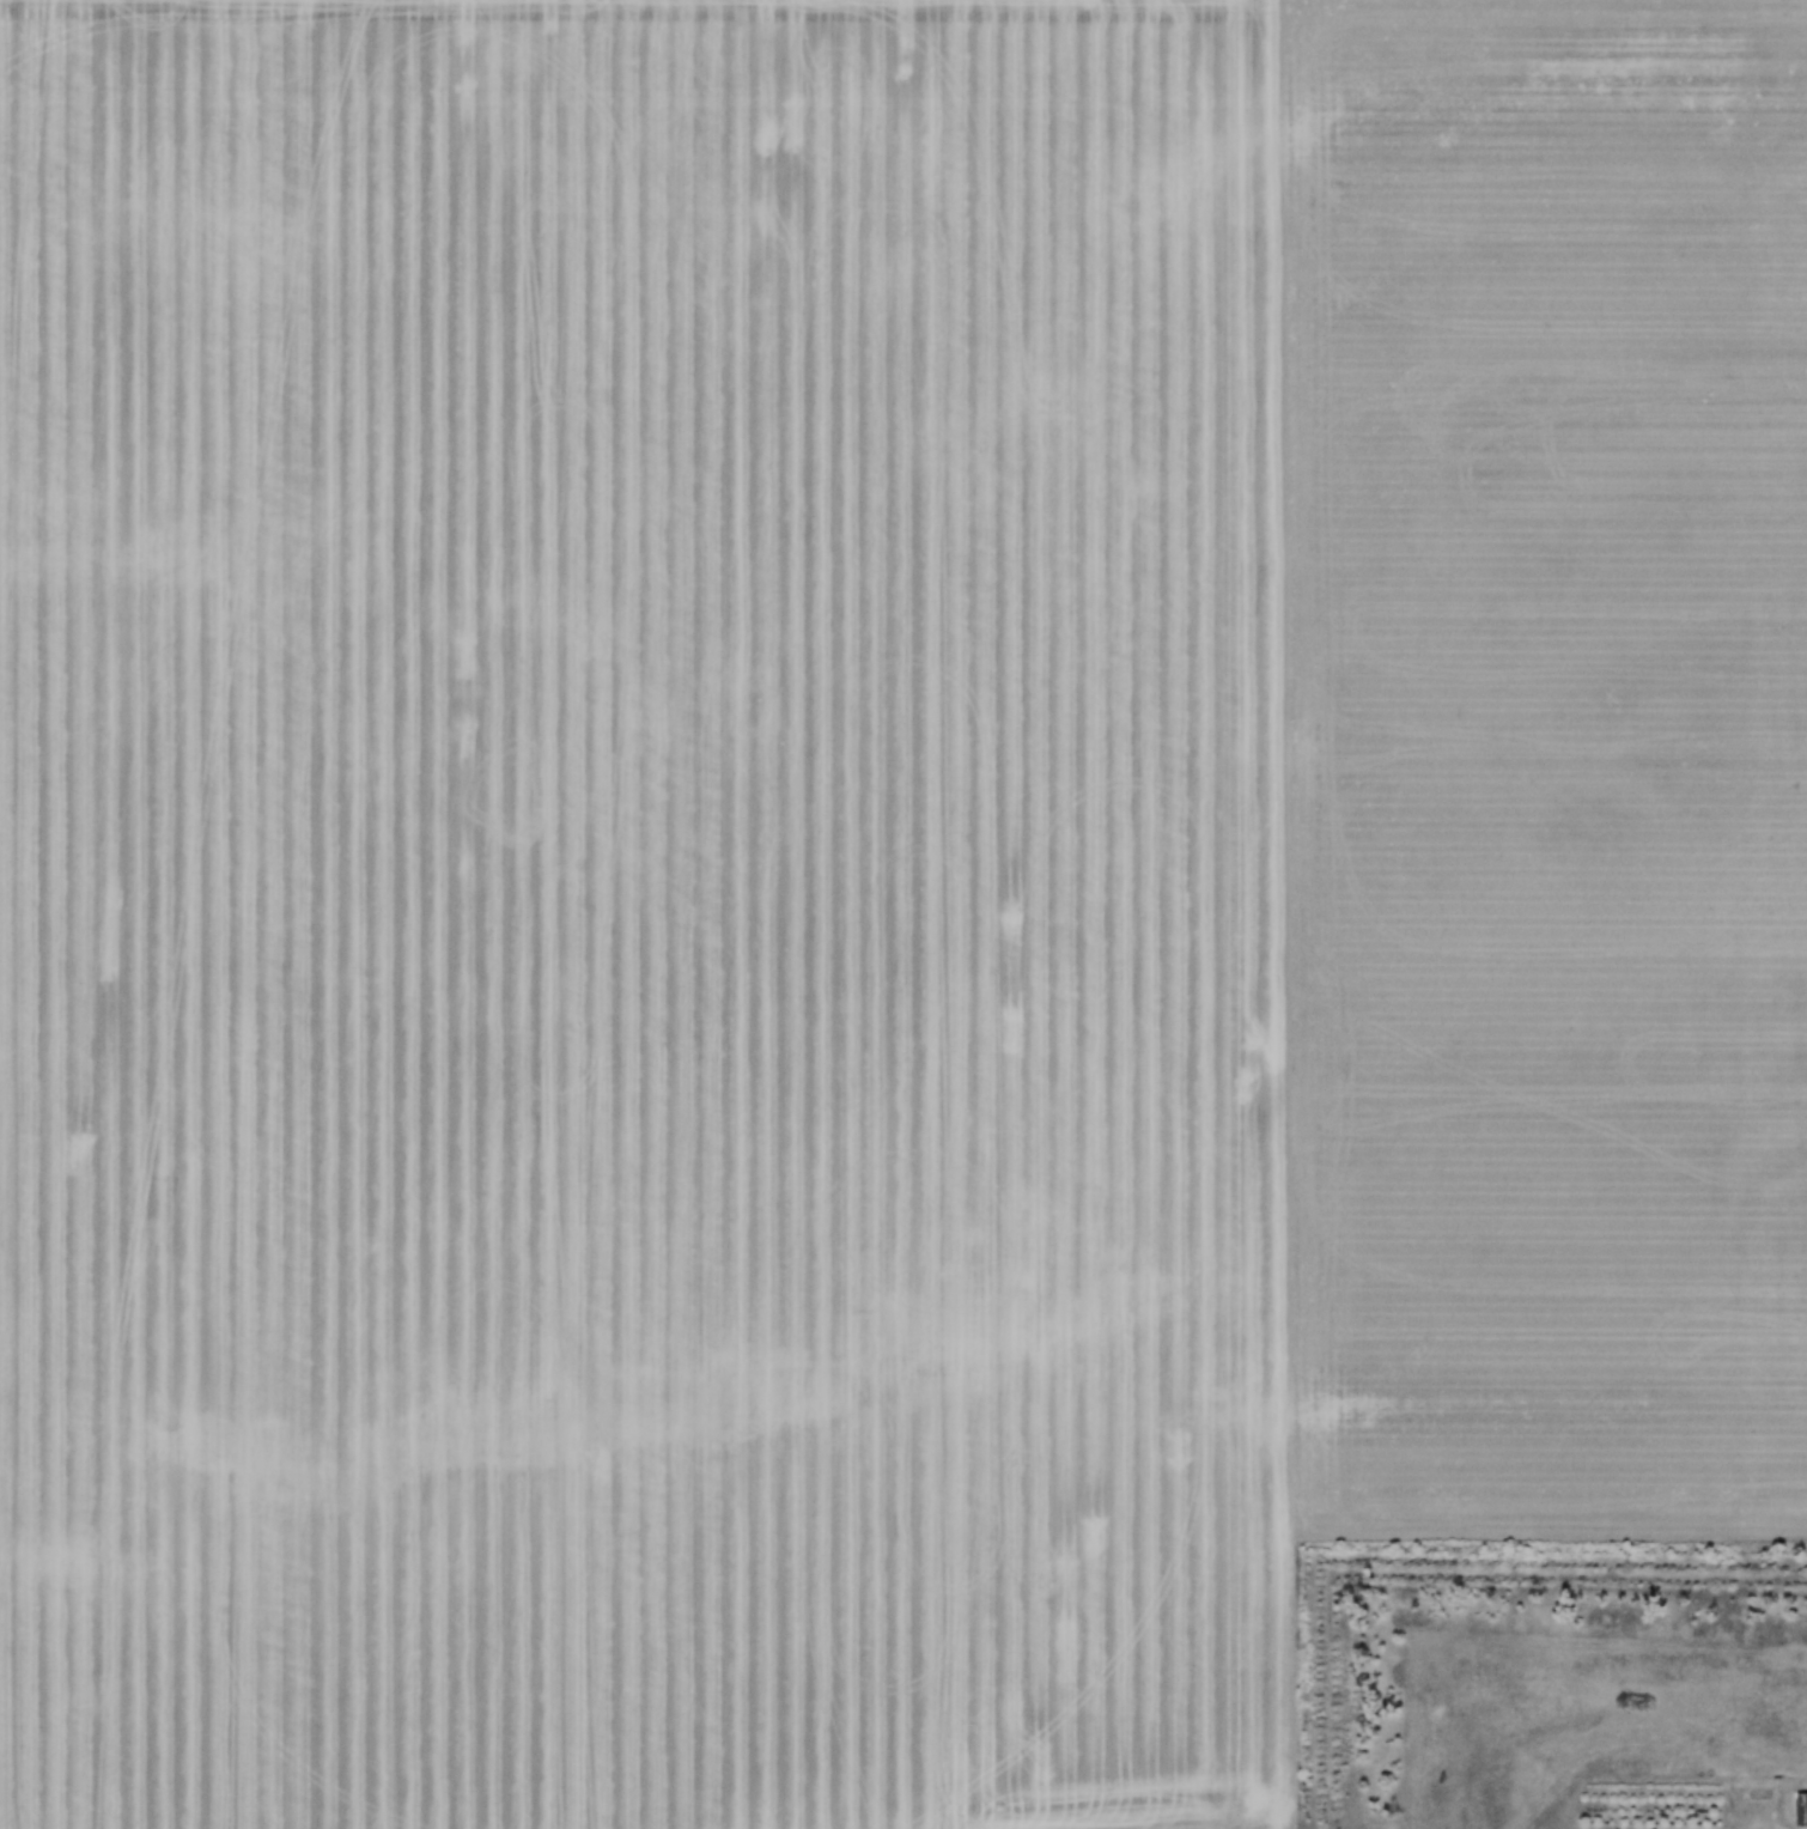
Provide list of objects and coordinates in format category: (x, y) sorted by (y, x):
crop: (874, 879)
building: (1801, 1811)

